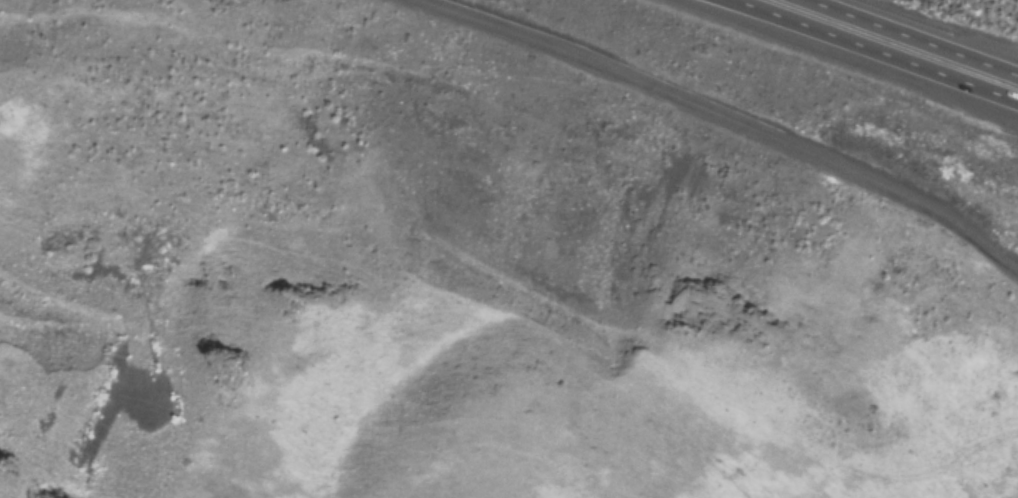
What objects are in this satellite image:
road: (919, 33)
road: (875, 48)
road: (718, 118)

